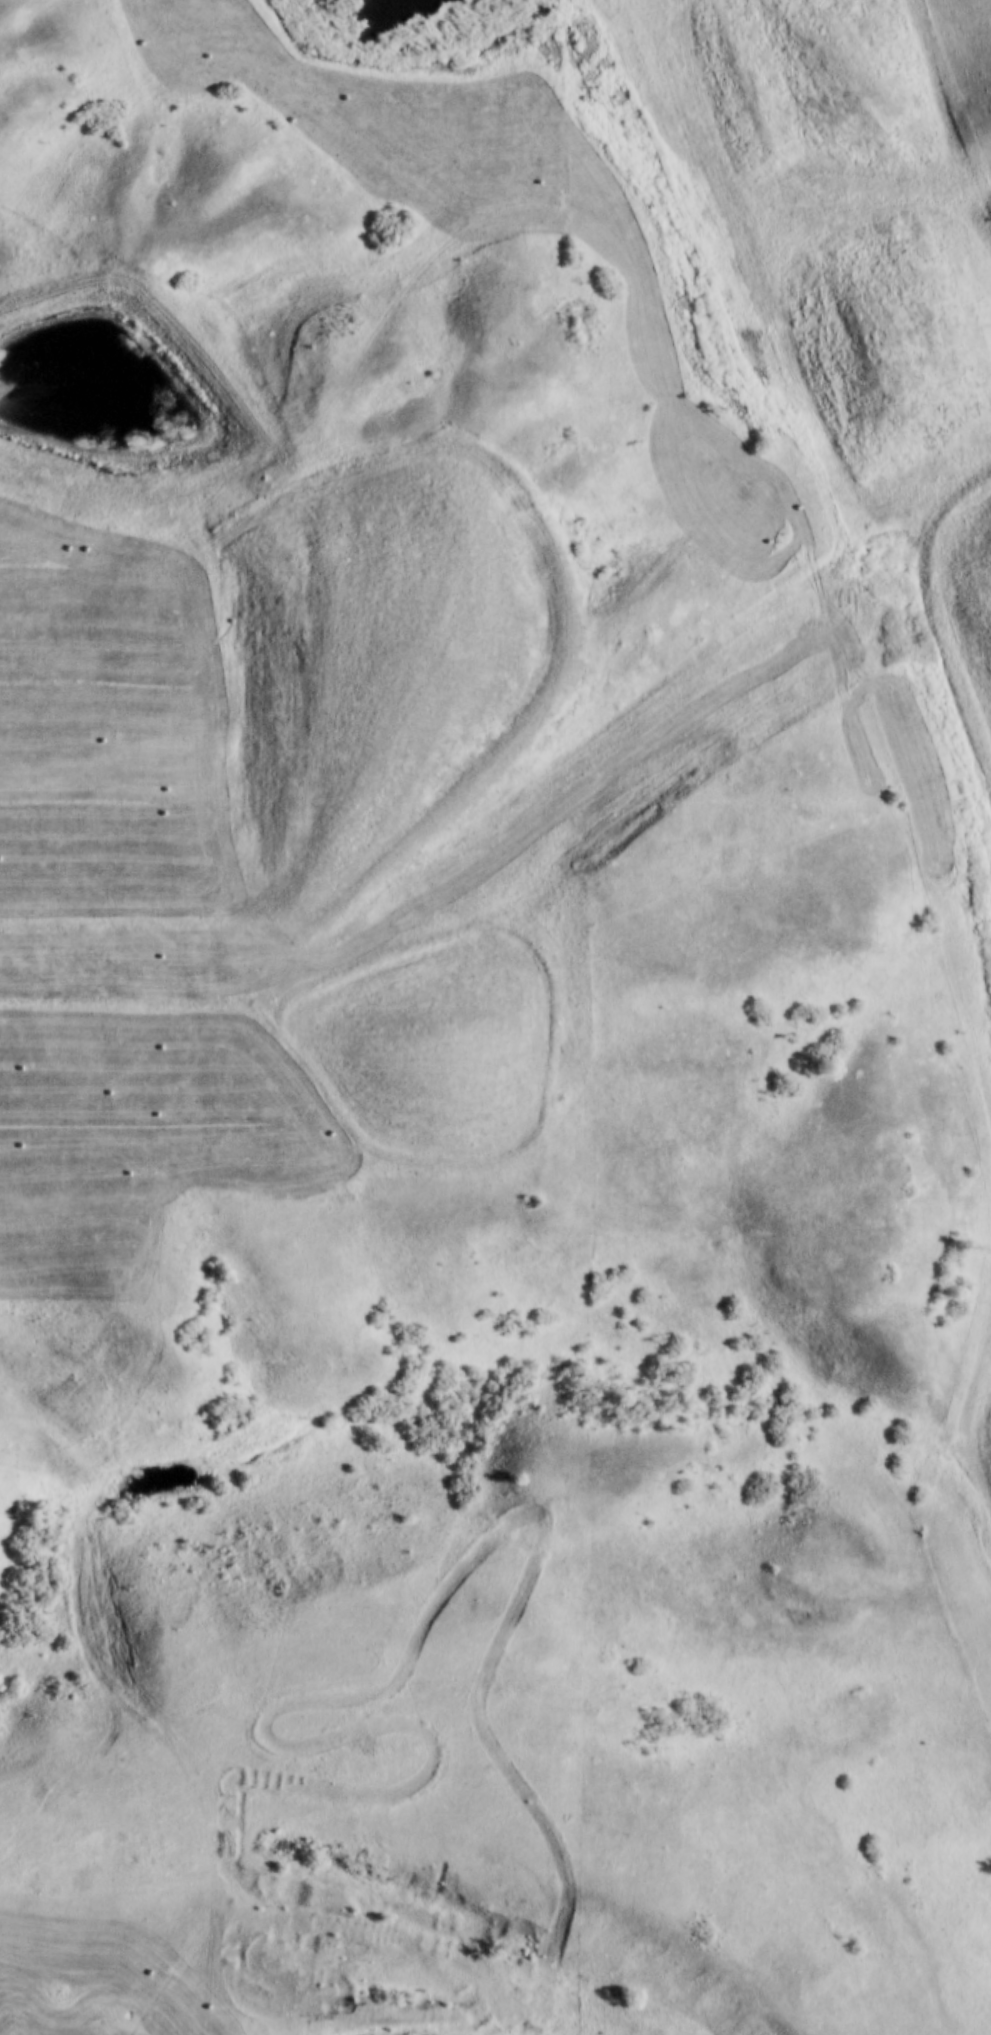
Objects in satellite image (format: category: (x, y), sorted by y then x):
quarry: (212, 780)
road: (196, 1994)

